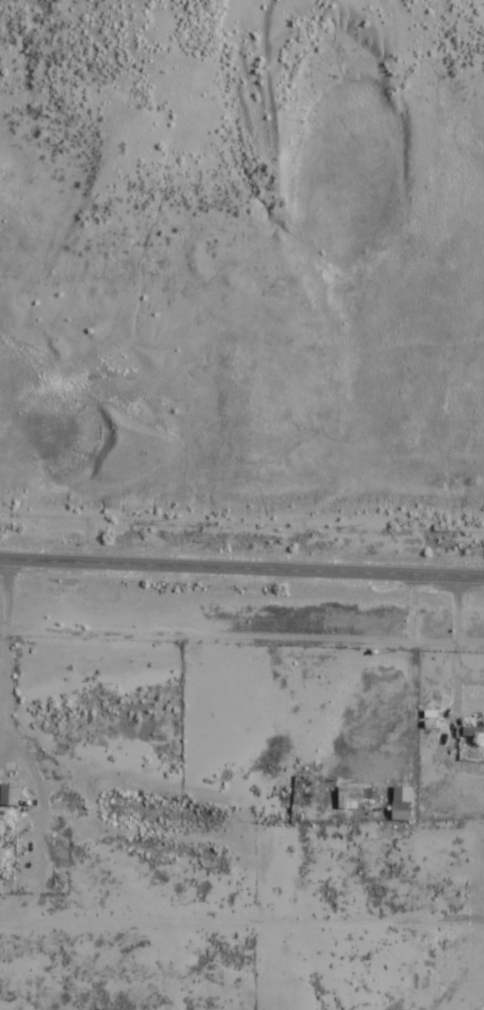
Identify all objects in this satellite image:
road: (242, 569)

